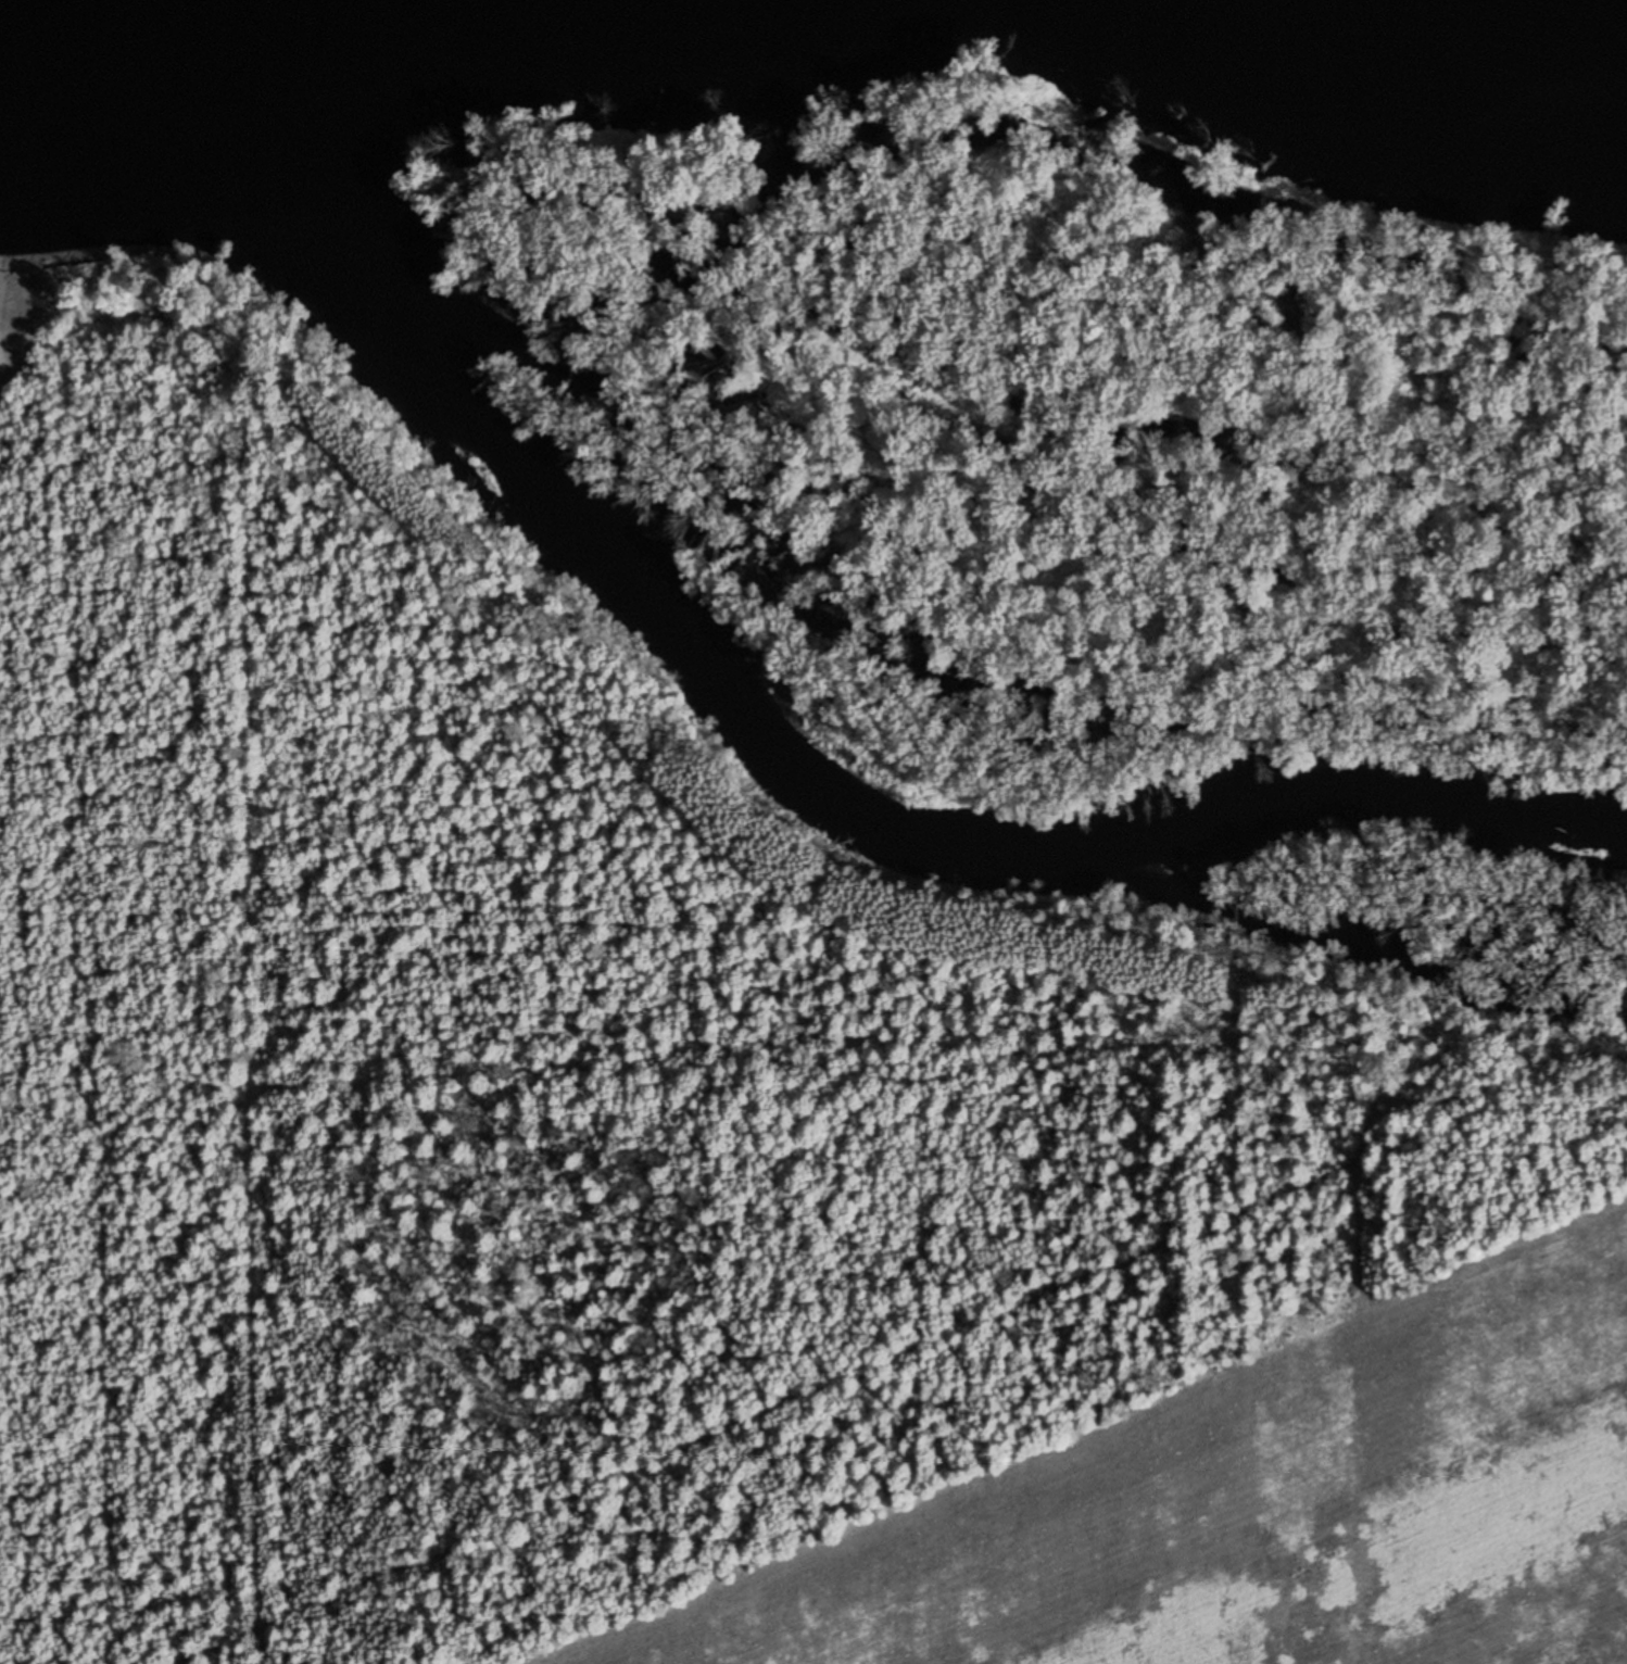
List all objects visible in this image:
airport: (1245, 1501)

